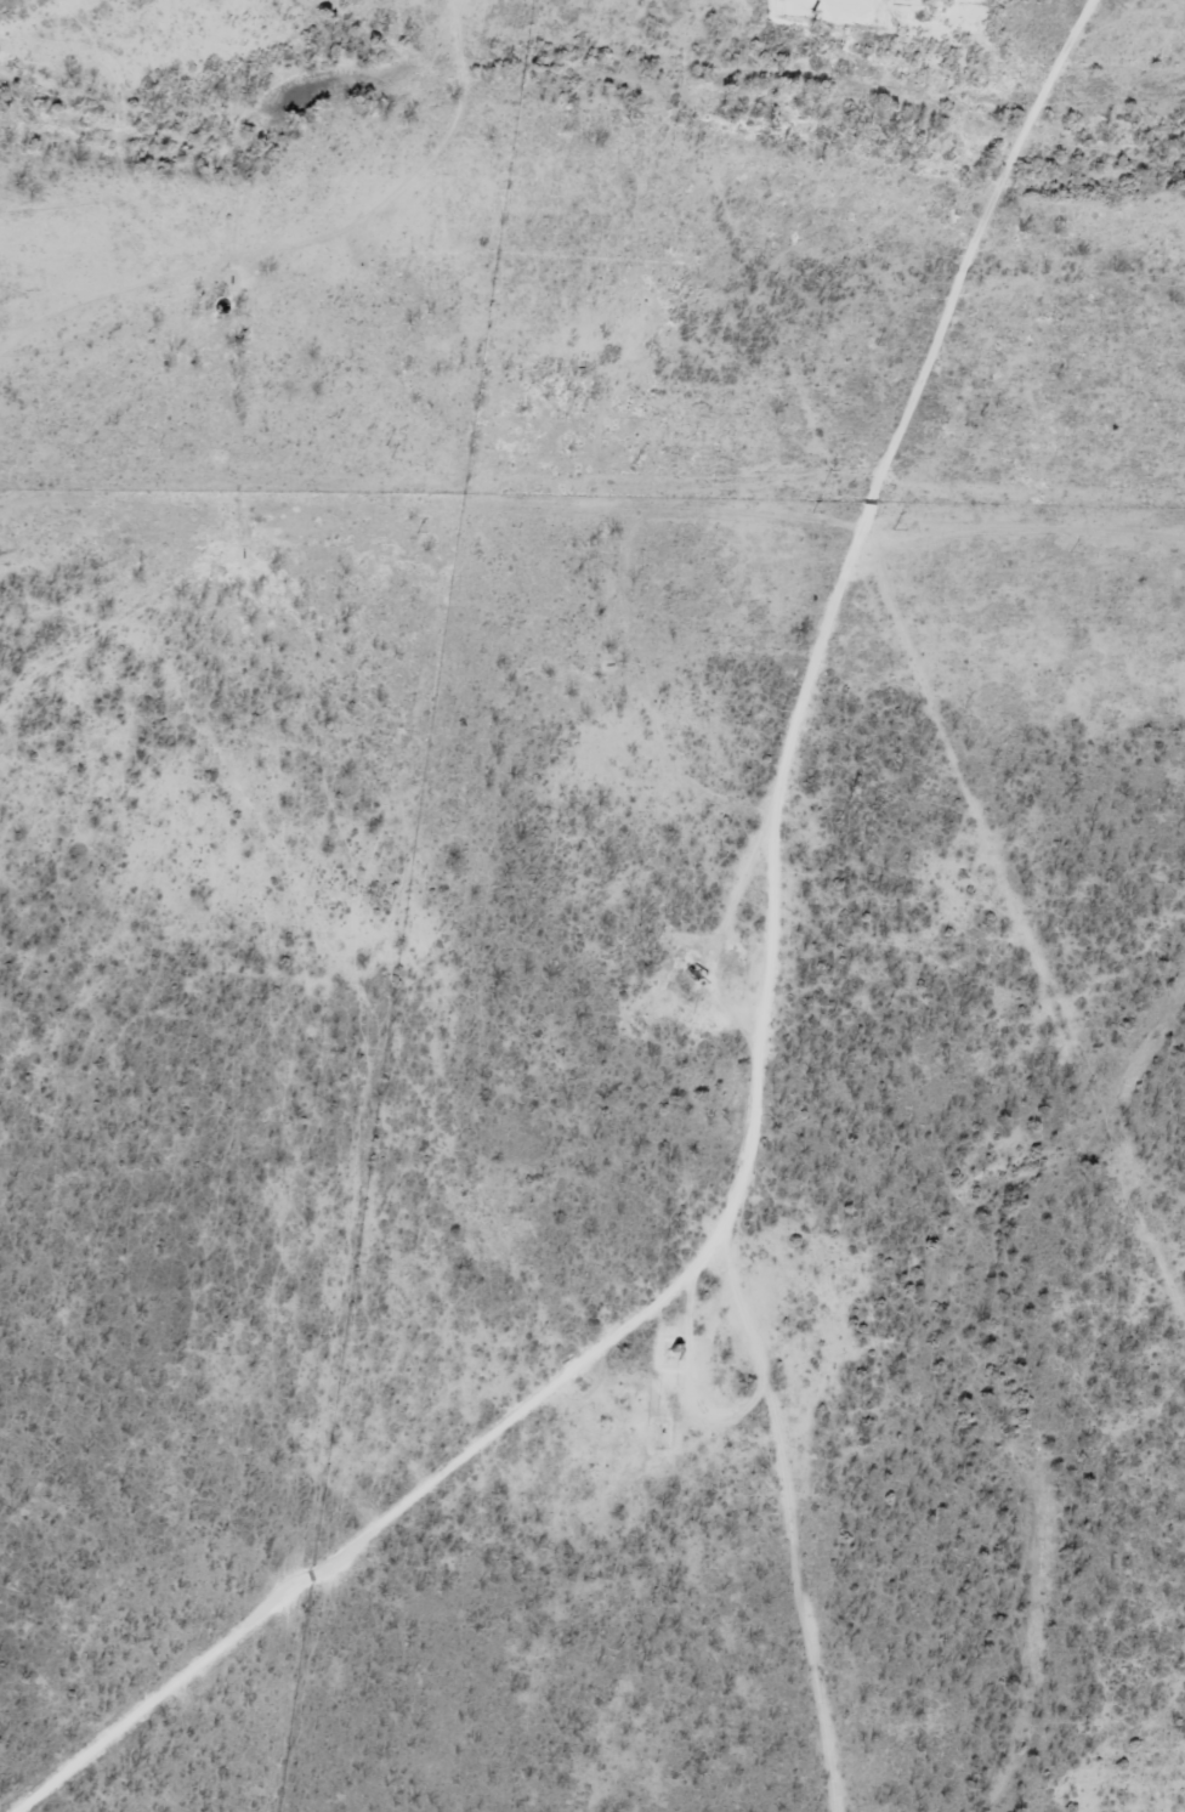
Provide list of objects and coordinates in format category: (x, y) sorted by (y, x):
road: (273, 255)
road: (810, 1078)
road: (822, 1527)

